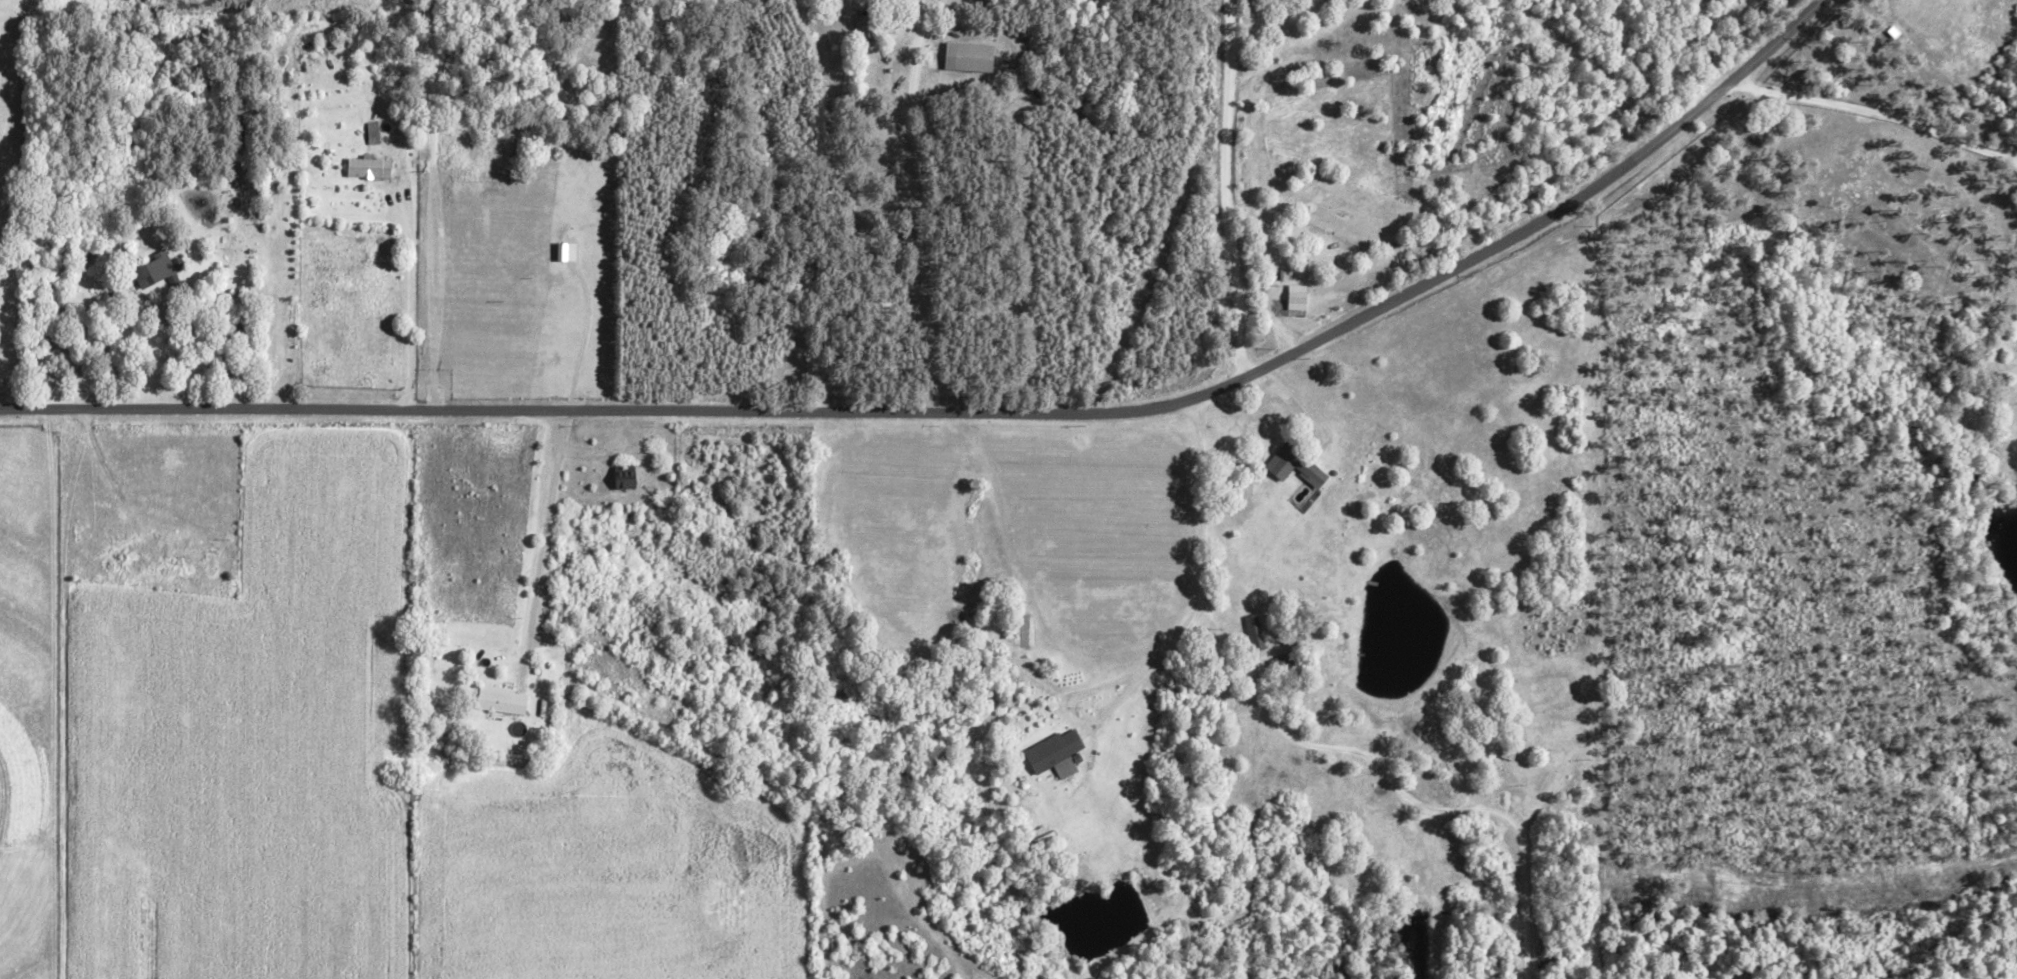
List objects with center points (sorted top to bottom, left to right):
building: (965, 57)
road: (1876, 111)
road: (2011, 157)
building: (364, 168)
road: (1224, 188)
building: (562, 251)
building: (153, 270)
road: (406, 304)
road: (1298, 399)
road: (969, 412)
building: (1291, 466)
building: (621, 479)
road: (542, 526)
building: (188, 551)
road: (184, 577)
building: (1253, 632)
road: (1221, 650)
building: (498, 699)
building: (1053, 753)

